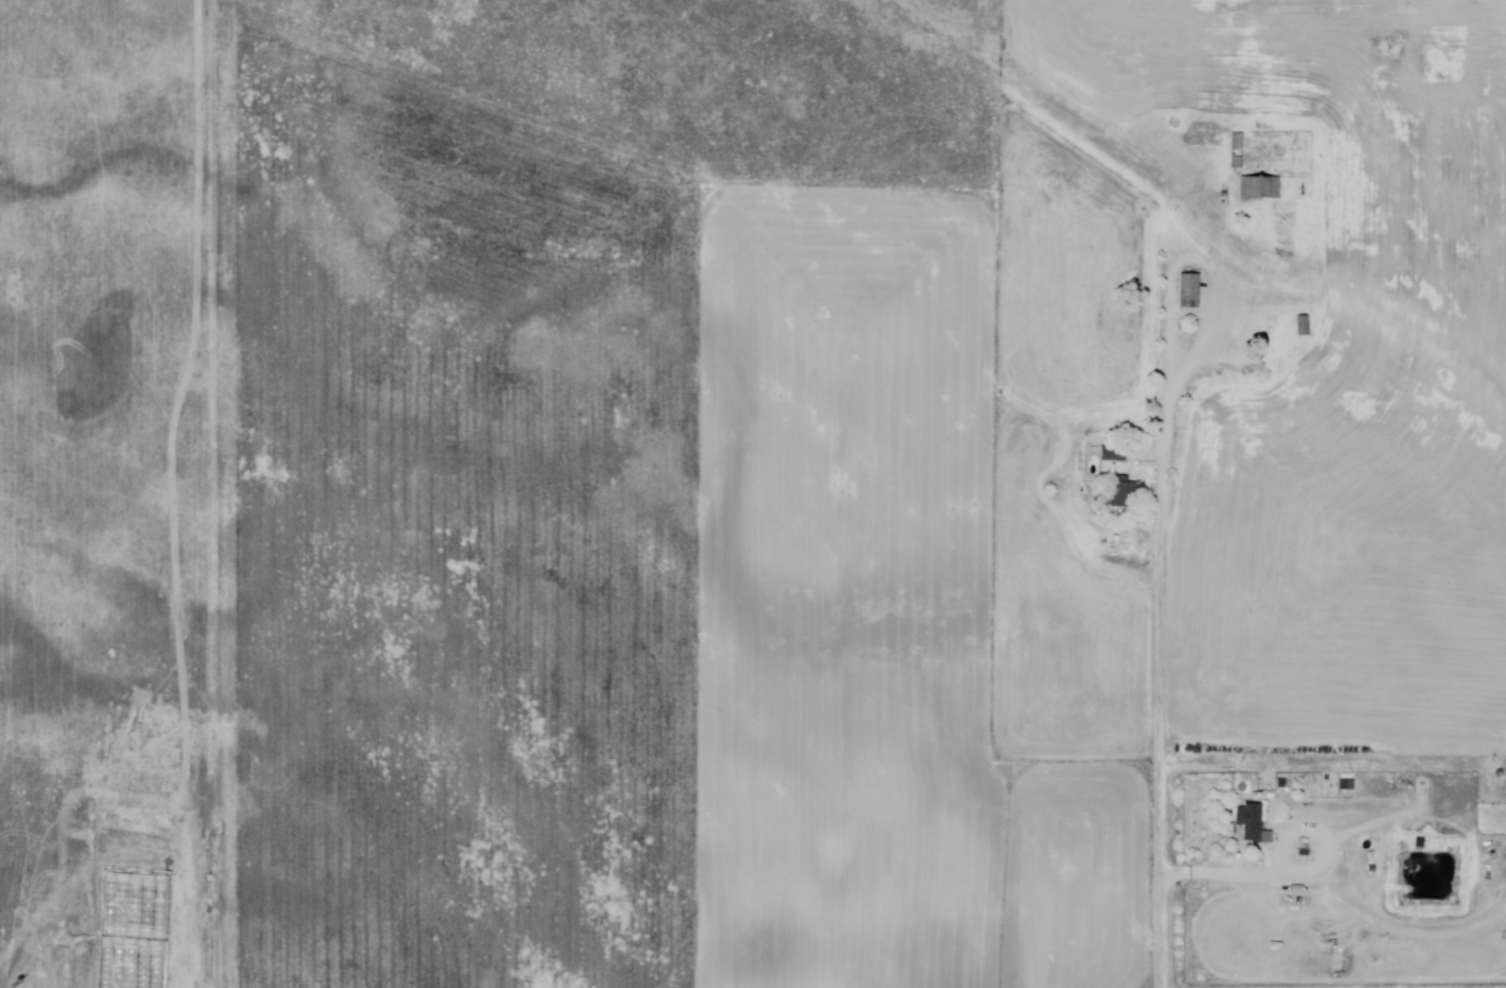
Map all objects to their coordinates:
building: (1260, 189)
building: (1190, 292)
building: (1114, 455)
building: (1133, 496)
road: (1158, 599)
building: (1251, 823)
building: (1336, 967)

